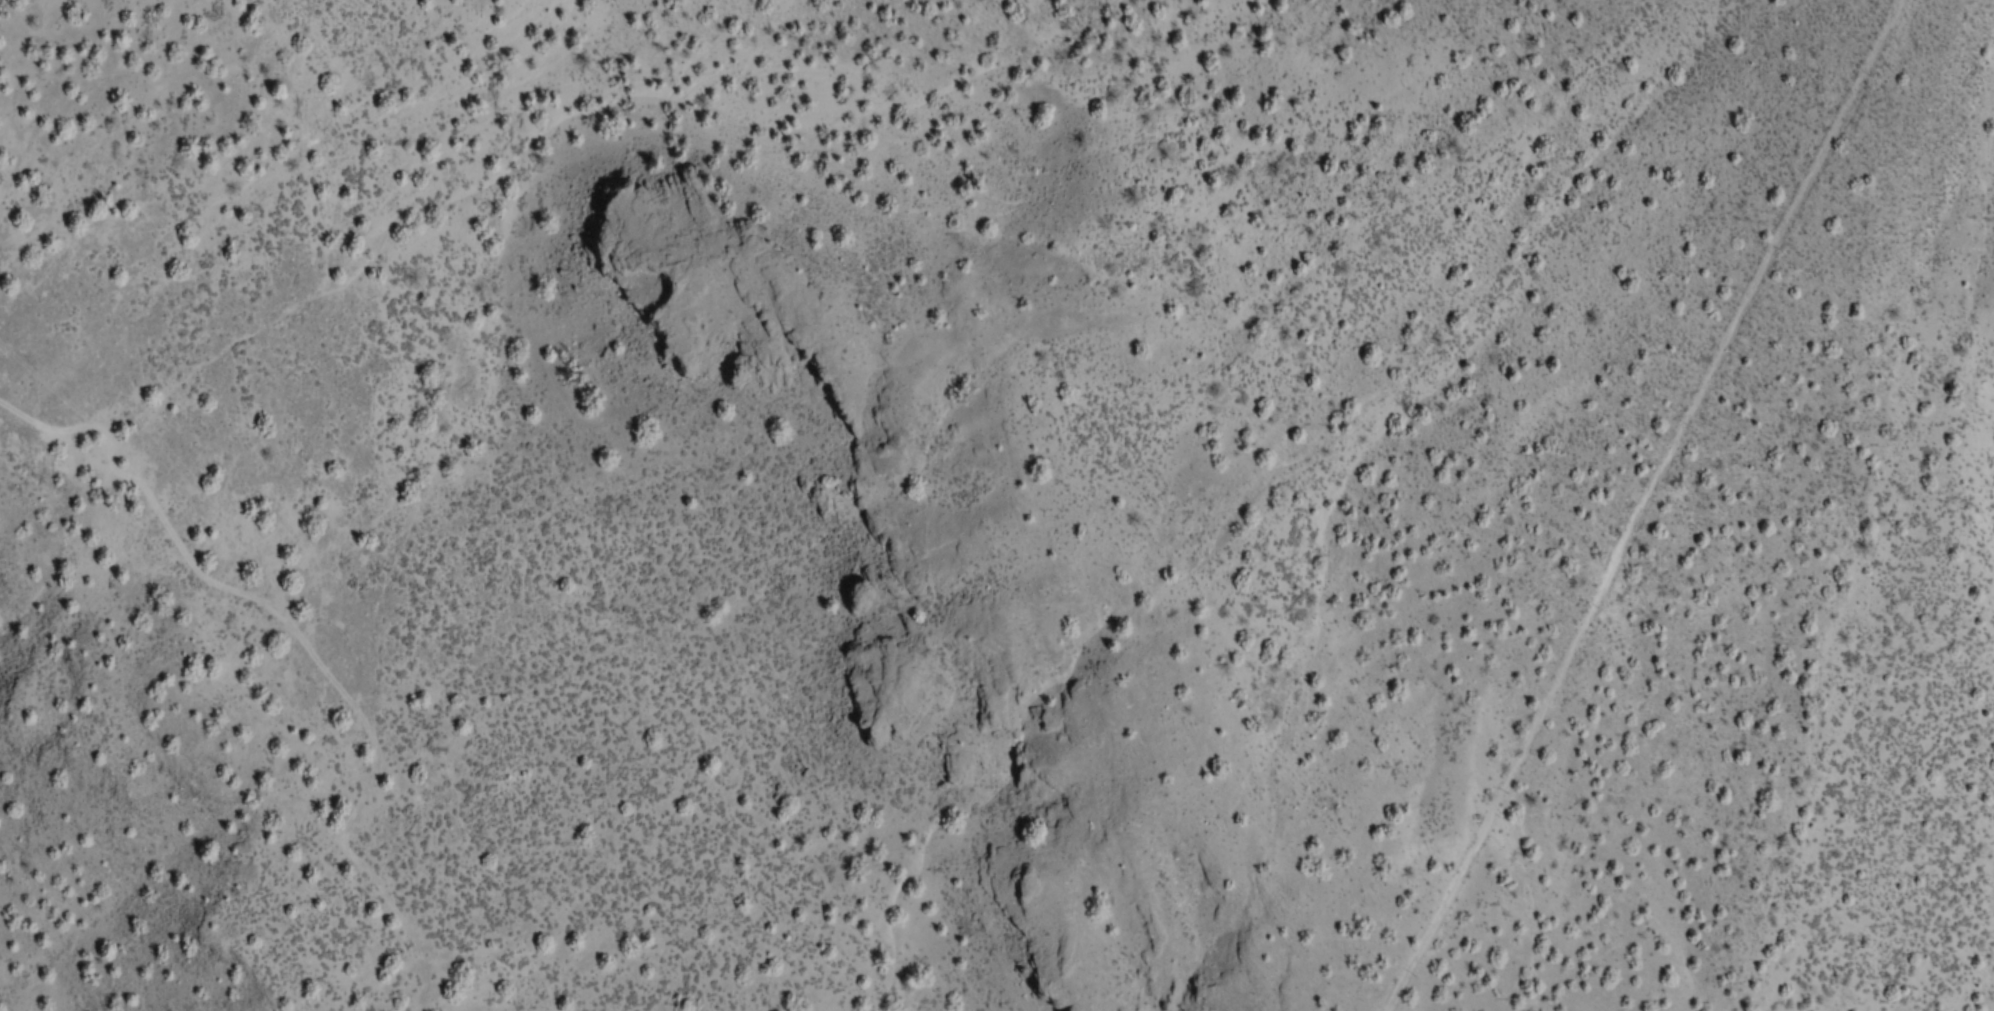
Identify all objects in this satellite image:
road: (1659, 505)

